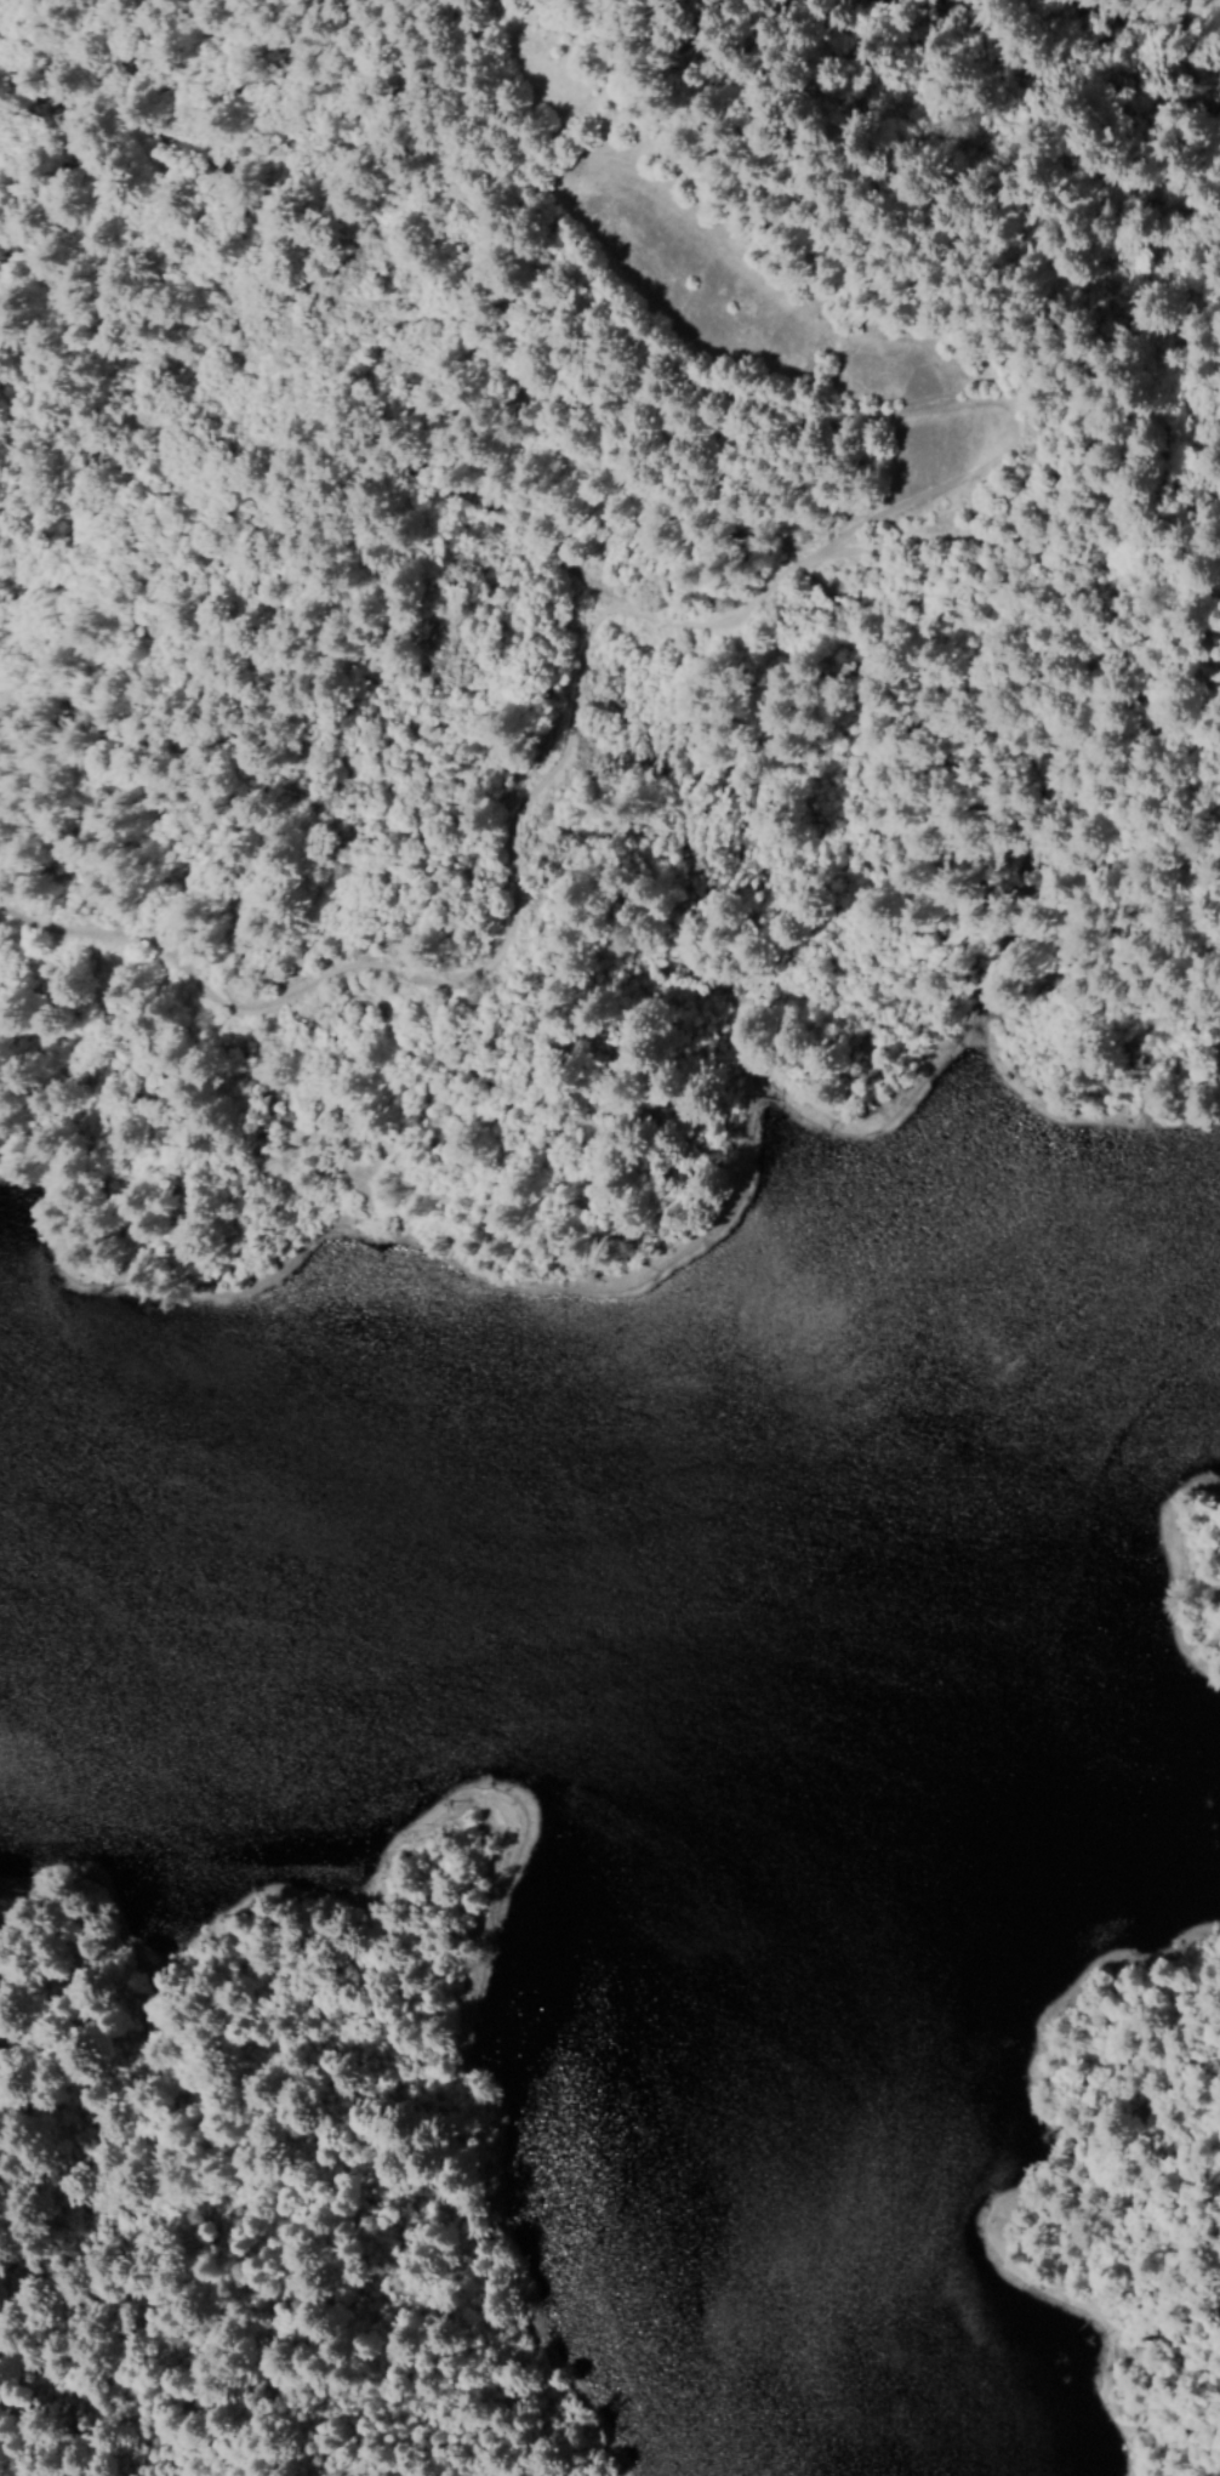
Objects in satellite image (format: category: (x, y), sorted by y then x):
road: (547, 392)
road: (1163, 414)
road: (502, 930)

